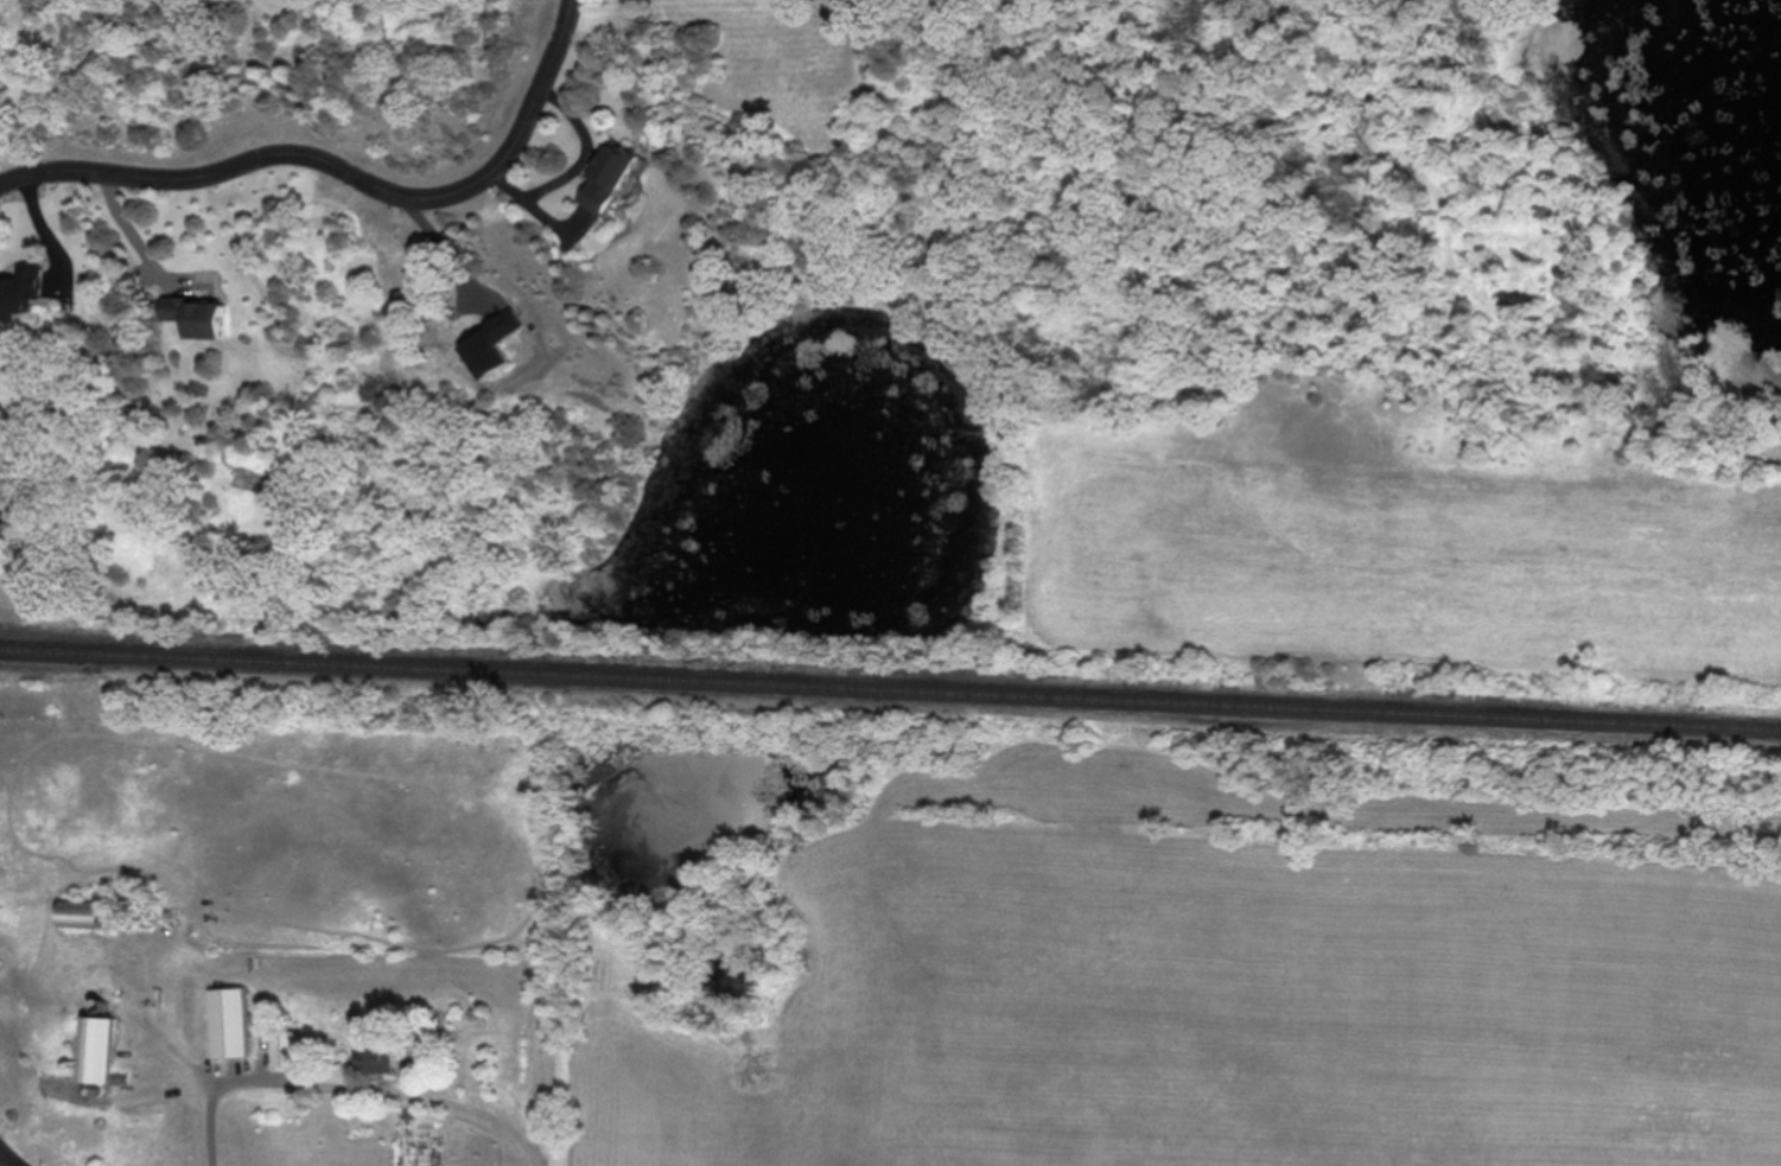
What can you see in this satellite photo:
building: (611, 178)
road: (346, 185)
road: (138, 243)
building: (23, 292)
railway: (890, 688)
building: (81, 913)
building: (229, 1021)
building: (98, 1047)
building: (284, 1049)
building: (375, 1058)
road: (352, 1091)
road: (6, 1160)

